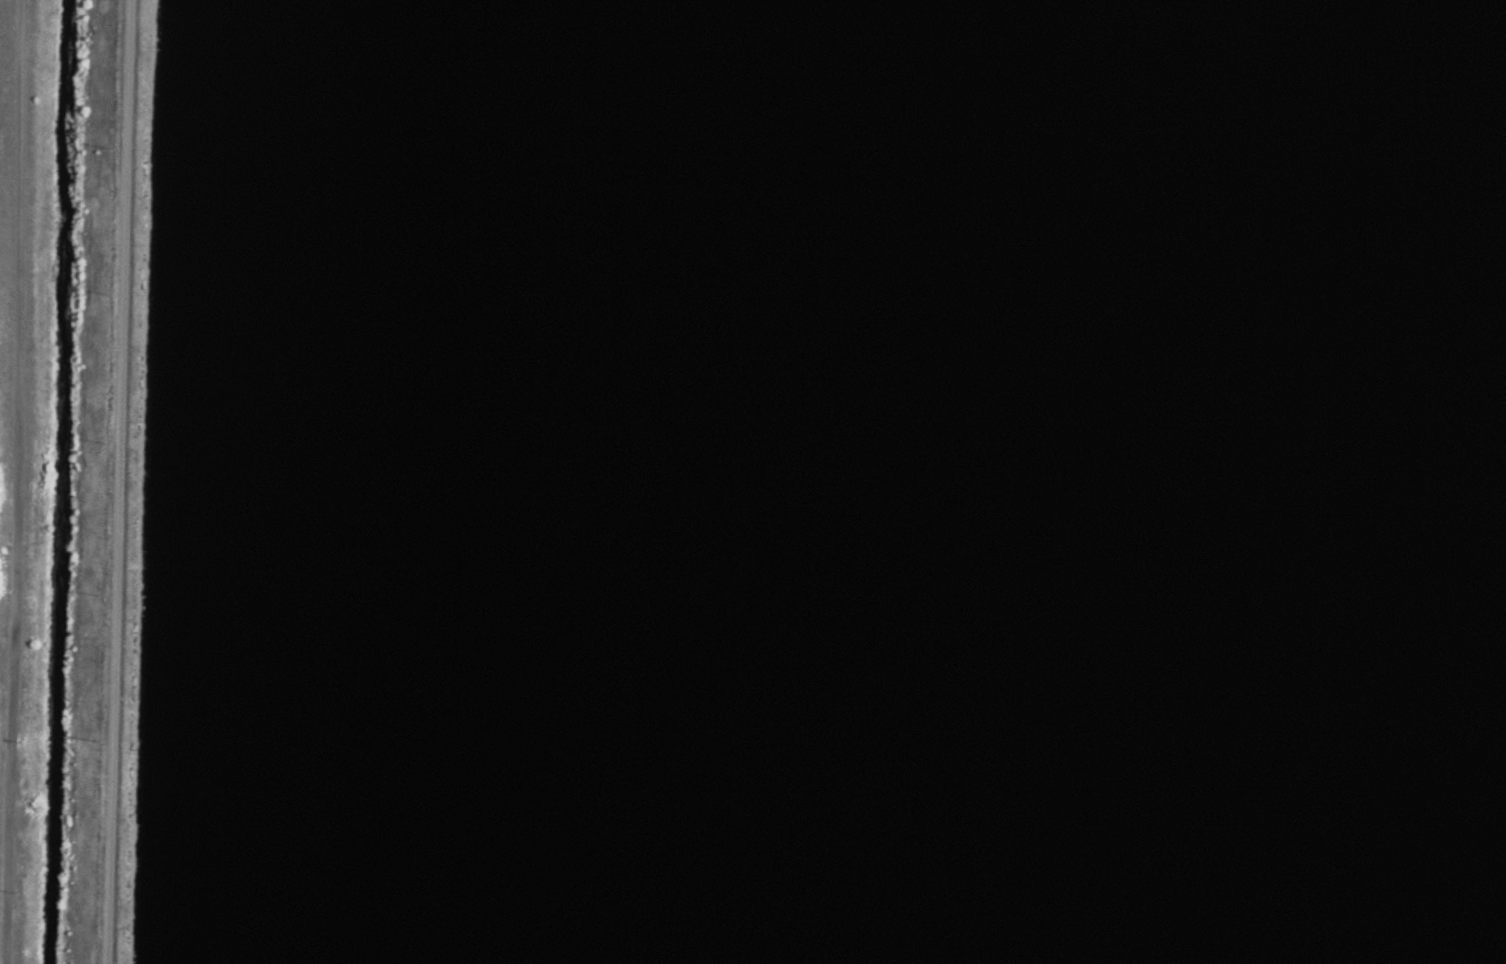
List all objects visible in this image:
road: (23, 482)
road: (124, 482)
wastewater plant: (753, 482)

